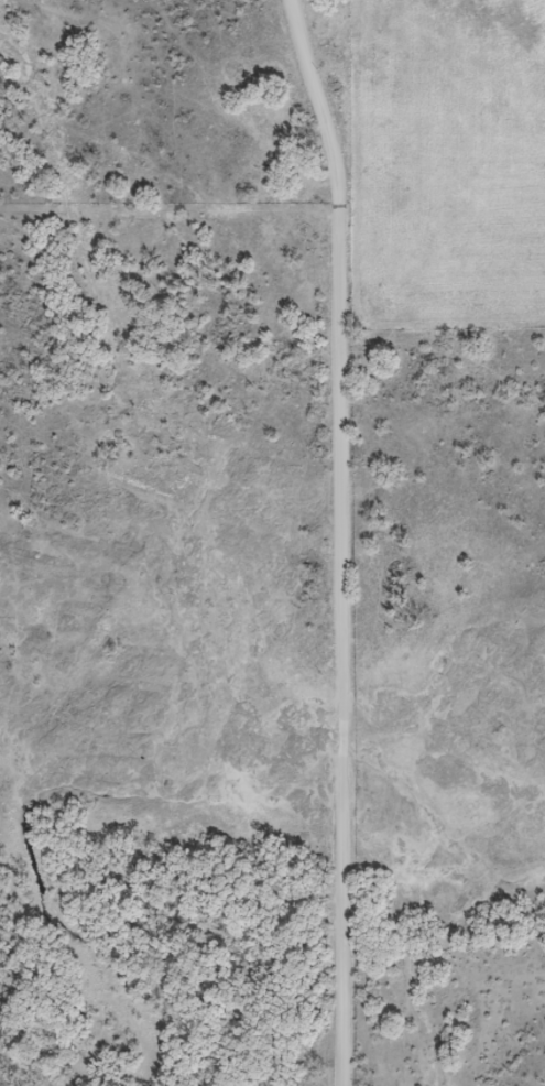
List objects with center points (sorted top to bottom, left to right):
road: (341, 540)

